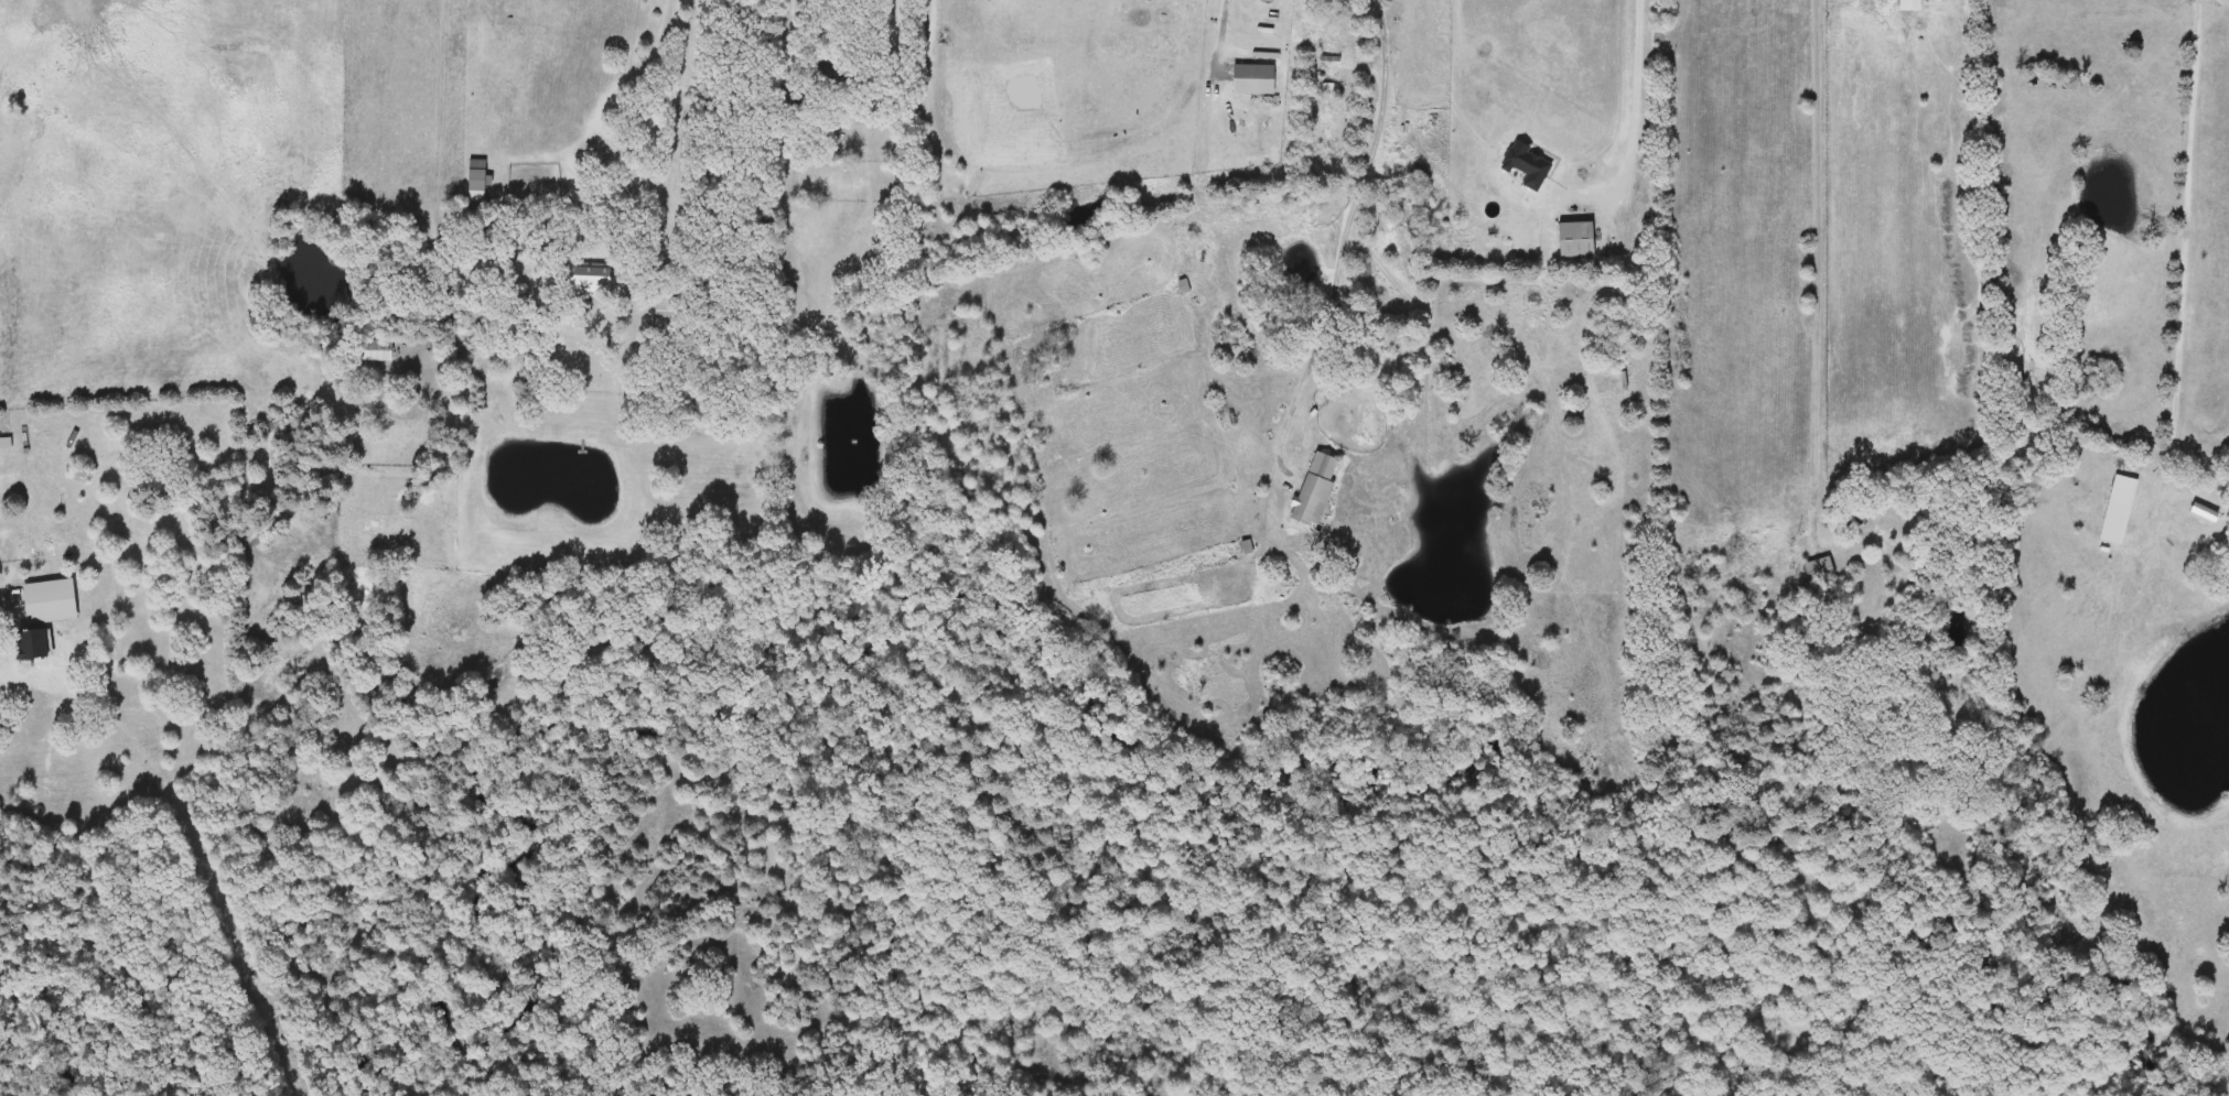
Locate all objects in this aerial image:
road: (1226, 28)
road: (782, 31)
building: (1250, 79)
road: (443, 96)
road: (1639, 99)
road: (632, 133)
road: (1414, 135)
building: (476, 180)
road: (2189, 224)
building: (1575, 239)
road: (1815, 268)
building: (583, 280)
road: (1339, 281)
building: (661, 313)
building: (374, 350)
building: (1314, 489)
building: (1851, 516)
building: (1818, 569)
building: (21, 615)
building: (30, 643)

